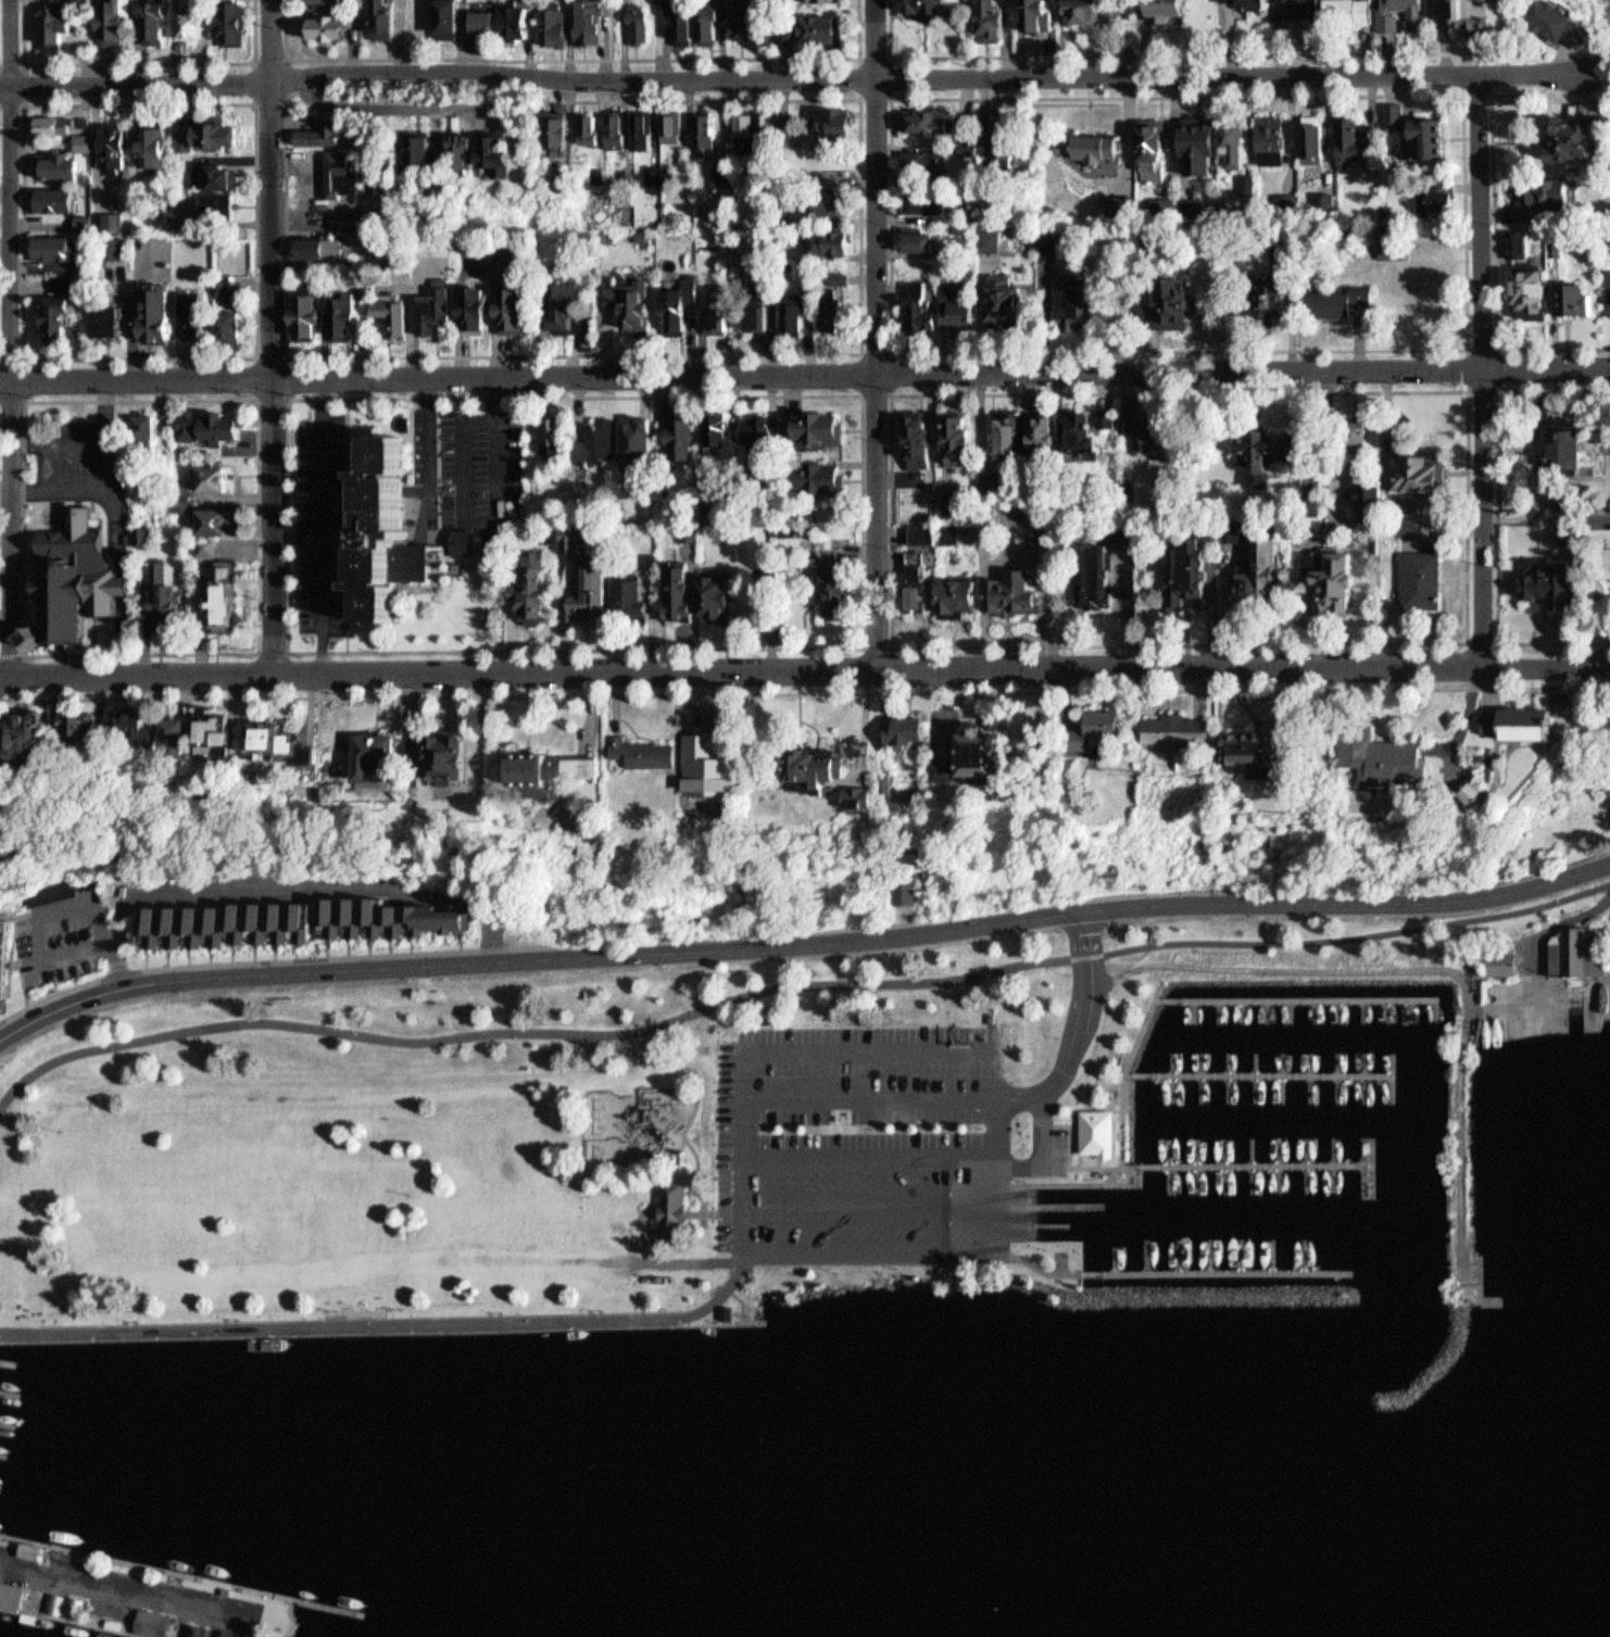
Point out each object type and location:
building: (340, 1)
building: (831, 1)
building: (919, 4)
building: (1255, 5)
building: (1177, 7)
building: (1300, 10)
building: (1089, 11)
building: (1337, 11)
building: (1026, 12)
building: (1488, 13)
building: (984, 15)
building: (1044, 15)
building: (1411, 15)
building: (740, 16)
building: (632, 17)
building: (674, 17)
building: (457, 18)
building: (523, 18)
building: (586, 18)
building: (707, 18)
building: (394, 20)
building: (124, 22)
building: (816, 22)
building: (1581, 23)
building: (156, 24)
building: (493, 24)
building: (642, 24)
building: (59, 25)
building: (196, 25)
building: (553, 26)
building: (337, 27)
building: (238, 32)
building: (0, 35)
road: (1582, 50)
road: (1194, 52)
road: (573, 56)
road: (138, 62)
road: (1601, 72)
road: (795, 76)
road: (24, 83)
road: (1470, 87)
road: (890, 96)
road: (286, 97)
road: (394, 99)
building: (831, 115)
building: (920, 115)
building: (1399, 117)
building: (664, 122)
building: (587, 123)
building: (966, 124)
building: (52, 125)
building: (611, 125)
building: (638, 125)
building: (697, 127)
building: (741, 129)
building: (559, 130)
building: (620, 130)
building: (762, 130)
building: (1004, 131)
building: (322, 133)
building: (213, 136)
building: (1313, 137)
building: (1436, 139)
building: (1274, 140)
building: (1357, 141)
building: (85, 142)
building: (1067, 143)
building: (1589, 143)
building: (117, 146)
building: (156, 146)
building: (1219, 147)
building: (1156, 152)
building: (437, 153)
building: (1095, 153)
building: (518, 159)
building: (916, 161)
building: (67, 166)
building: (645, 169)
building: (718, 169)
building: (661, 171)
building: (348, 174)
building: (219, 175)
building: (919, 197)
building: (833, 198)
building: (63, 199)
building: (1557, 200)
building: (1448, 202)
building: (234, 203)
building: (1122, 203)
building: (961, 212)
building: (83, 223)
building: (916, 235)
building: (831, 237)
building: (953, 243)
building: (320, 248)
building: (54, 249)
building: (1525, 249)
building: (1397, 250)
road: (1501, 252)
building: (835, 272)
building: (842, 278)
building: (1283, 285)
building: (1010, 297)
building: (678, 298)
building: (1558, 298)
building: (626, 300)
building: (917, 301)
building: (1182, 301)
building: (712, 302)
building: (963, 302)
building: (567, 303)
building: (826, 303)
building: (153, 304)
building: (1354, 304)
building: (63, 306)
building: (486, 306)
building: (1082, 306)
building: (788, 308)
building: (513, 310)
building: (837, 310)
building: (443, 311)
building: (758, 311)
building: (194, 314)
building: (397, 316)
building: (312, 317)
building: (352, 317)
building: (116, 320)
building: (241, 326)
road: (877, 333)
road: (274, 336)
road: (11, 338)
road: (1471, 350)
road: (710, 353)
road: (255, 357)
road: (1484, 369)
road: (804, 374)
road: (25, 380)
road: (1471, 391)
road: (891, 393)
road: (289, 399)
road: (25, 403)
road: (502, 414)
road: (489, 415)
building: (1111, 419)
building: (674, 423)
building: (818, 423)
building: (712, 424)
building: (752, 424)
building: (1083, 427)
building: (215, 428)
building: (762, 429)
building: (1046, 429)
building: (550, 430)
building: (1009, 431)
building: (594, 433)
building: (957, 435)
building: (919, 436)
road: (499, 438)
building: (637, 438)
building: (1156, 439)
building: (1576, 450)
building: (1271, 458)
road: (462, 461)
road: (322, 465)
road: (425, 466)
building: (1363, 470)
building: (820, 473)
building: (1423, 474)
road: (495, 477)
building: (216, 479)
building: (956, 500)
building: (1041, 513)
road: (1500, 513)
building: (225, 521)
road: (351, 524)
building: (388, 526)
building: (1423, 527)
building: (932, 528)
building: (682, 529)
building: (577, 531)
building: (1128, 532)
building: (463, 545)
building: (1320, 563)
building: (921, 568)
building: (66, 570)
building: (1267, 572)
building: (1095, 577)
building: (1193, 577)
building: (767, 578)
building: (1426, 580)
building: (822, 583)
building: (584, 584)
building: (1344, 584)
building: (1562, 584)
building: (527, 585)
building: (841, 585)
building: (541, 587)
building: (668, 588)
building: (151, 592)
building: (209, 592)
building: (687, 592)
building: (707, 592)
building: (1020, 592)
building: (620, 594)
building: (231, 595)
building: (968, 596)
building: (638, 597)
building: (724, 597)
building: (167, 599)
building: (925, 599)
building: (765, 600)
road: (323, 615)
road: (1470, 640)
road: (1472, 647)
road: (290, 651)
road: (276, 652)
road: (864, 653)
road: (21, 667)
road: (804, 669)
road: (5, 683)
road: (809, 691)
building: (67, 721)
building: (1507, 721)
building: (896, 723)
building: (1120, 723)
building: (1547, 723)
building: (96, 727)
building: (117, 728)
building: (1193, 732)
building: (17, 733)
building: (201, 733)
building: (160, 734)
building: (45, 736)
building: (234, 738)
building: (273, 743)
building: (301, 743)
building: (636, 747)
building: (967, 750)
building: (1269, 751)
building: (368, 753)
building: (1001, 754)
building: (452, 755)
building: (406, 758)
building: (476, 760)
building: (1397, 763)
building: (801, 764)
building: (536, 765)
building: (932, 766)
building: (697, 768)
building: (720, 775)
building: (847, 791)
building: (1480, 794)
building: (876, 798)
building: (895, 885)
road: (1087, 889)
building: (285, 914)
road: (1472, 918)
road: (802, 942)
building: (1584, 947)
road: (276, 959)
building: (1508, 962)
road: (1426, 967)
building: (5, 968)
road: (1160, 998)
pier: (1299, 999)
road: (1087, 1007)
road: (654, 1020)
road: (1129, 1059)
road: (1128, 1072)
pier: (1263, 1080)
road: (893, 1099)
parking lot: (837, 1115)
building: (1103, 1133)
park: (571, 1134)
road: (1082, 1135)
road: (692, 1149)
road: (1041, 1154)
road: (869, 1155)
road: (1072, 1164)
pier: (1258, 1170)
road: (719, 1174)
road: (743, 1195)
parking lot: (880, 1205)
road: (861, 1206)
pier: (1077, 1206)
building: (672, 1210)
road: (718, 1211)
pier: (1061, 1223)
building: (952, 1271)
pier: (1220, 1272)
building: (730, 1312)
road: (387, 1324)
pier: (15, 1368)
pier: (12, 1387)
pier: (11, 1413)
pier: (1, 1481)
building: (36, 1548)
pier: (140, 1592)
building: (15, 1595)
building: (54, 1602)
building: (76, 1604)
building: (159, 1622)
building: (124, 1625)
building: (200, 1629)

